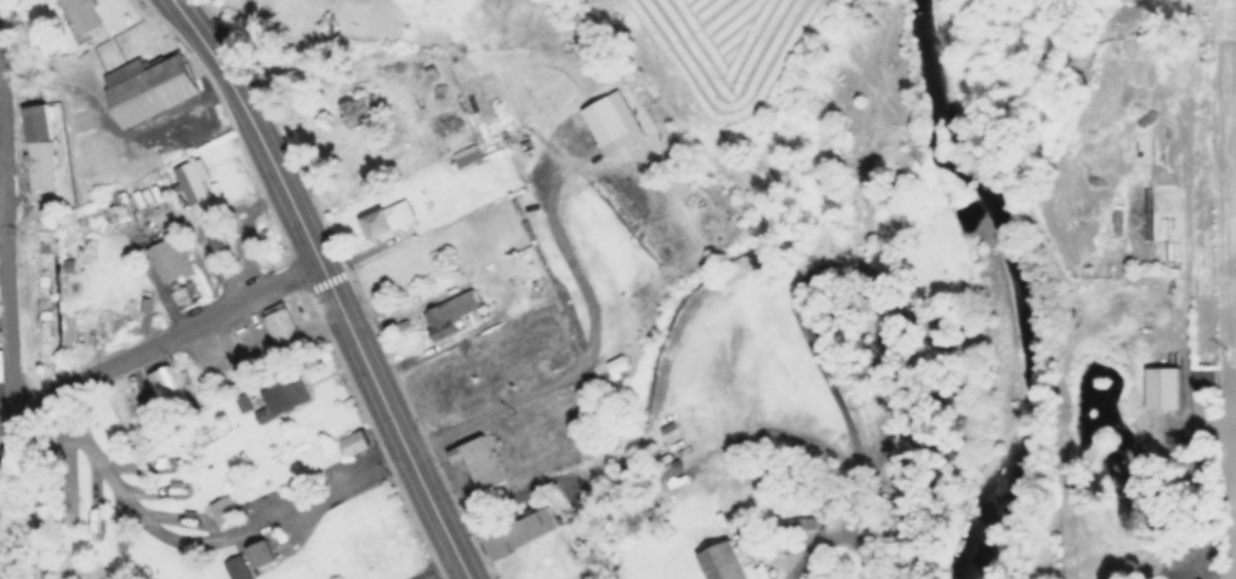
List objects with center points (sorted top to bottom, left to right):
building: (82, 13)
building: (153, 88)
building: (603, 121)
building: (349, 122)
road: (257, 126)
building: (34, 149)
building: (462, 160)
building: (193, 180)
road: (6, 218)
building: (382, 223)
building: (907, 227)
building: (1164, 257)
building: (169, 260)
river: (1013, 286)
building: (449, 319)
building: (285, 329)
road: (167, 337)
road: (589, 339)
building: (611, 369)
building: (285, 391)
building: (165, 394)
building: (1154, 394)
building: (249, 399)
building: (262, 412)
road: (6, 415)
road: (395, 422)
building: (354, 443)
building: (483, 464)
building: (666, 469)
building: (226, 509)
building: (520, 534)
building: (249, 561)
building: (725, 562)

